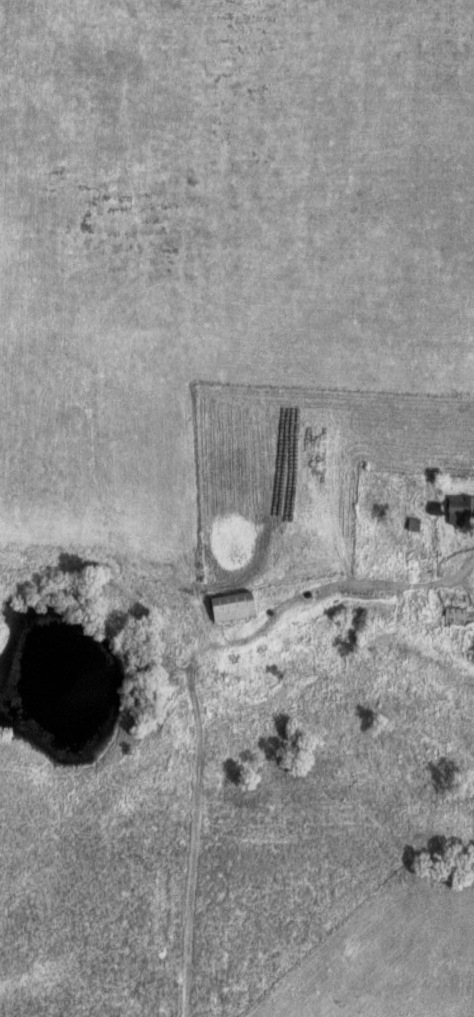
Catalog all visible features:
building: (461, 508)
building: (238, 605)

